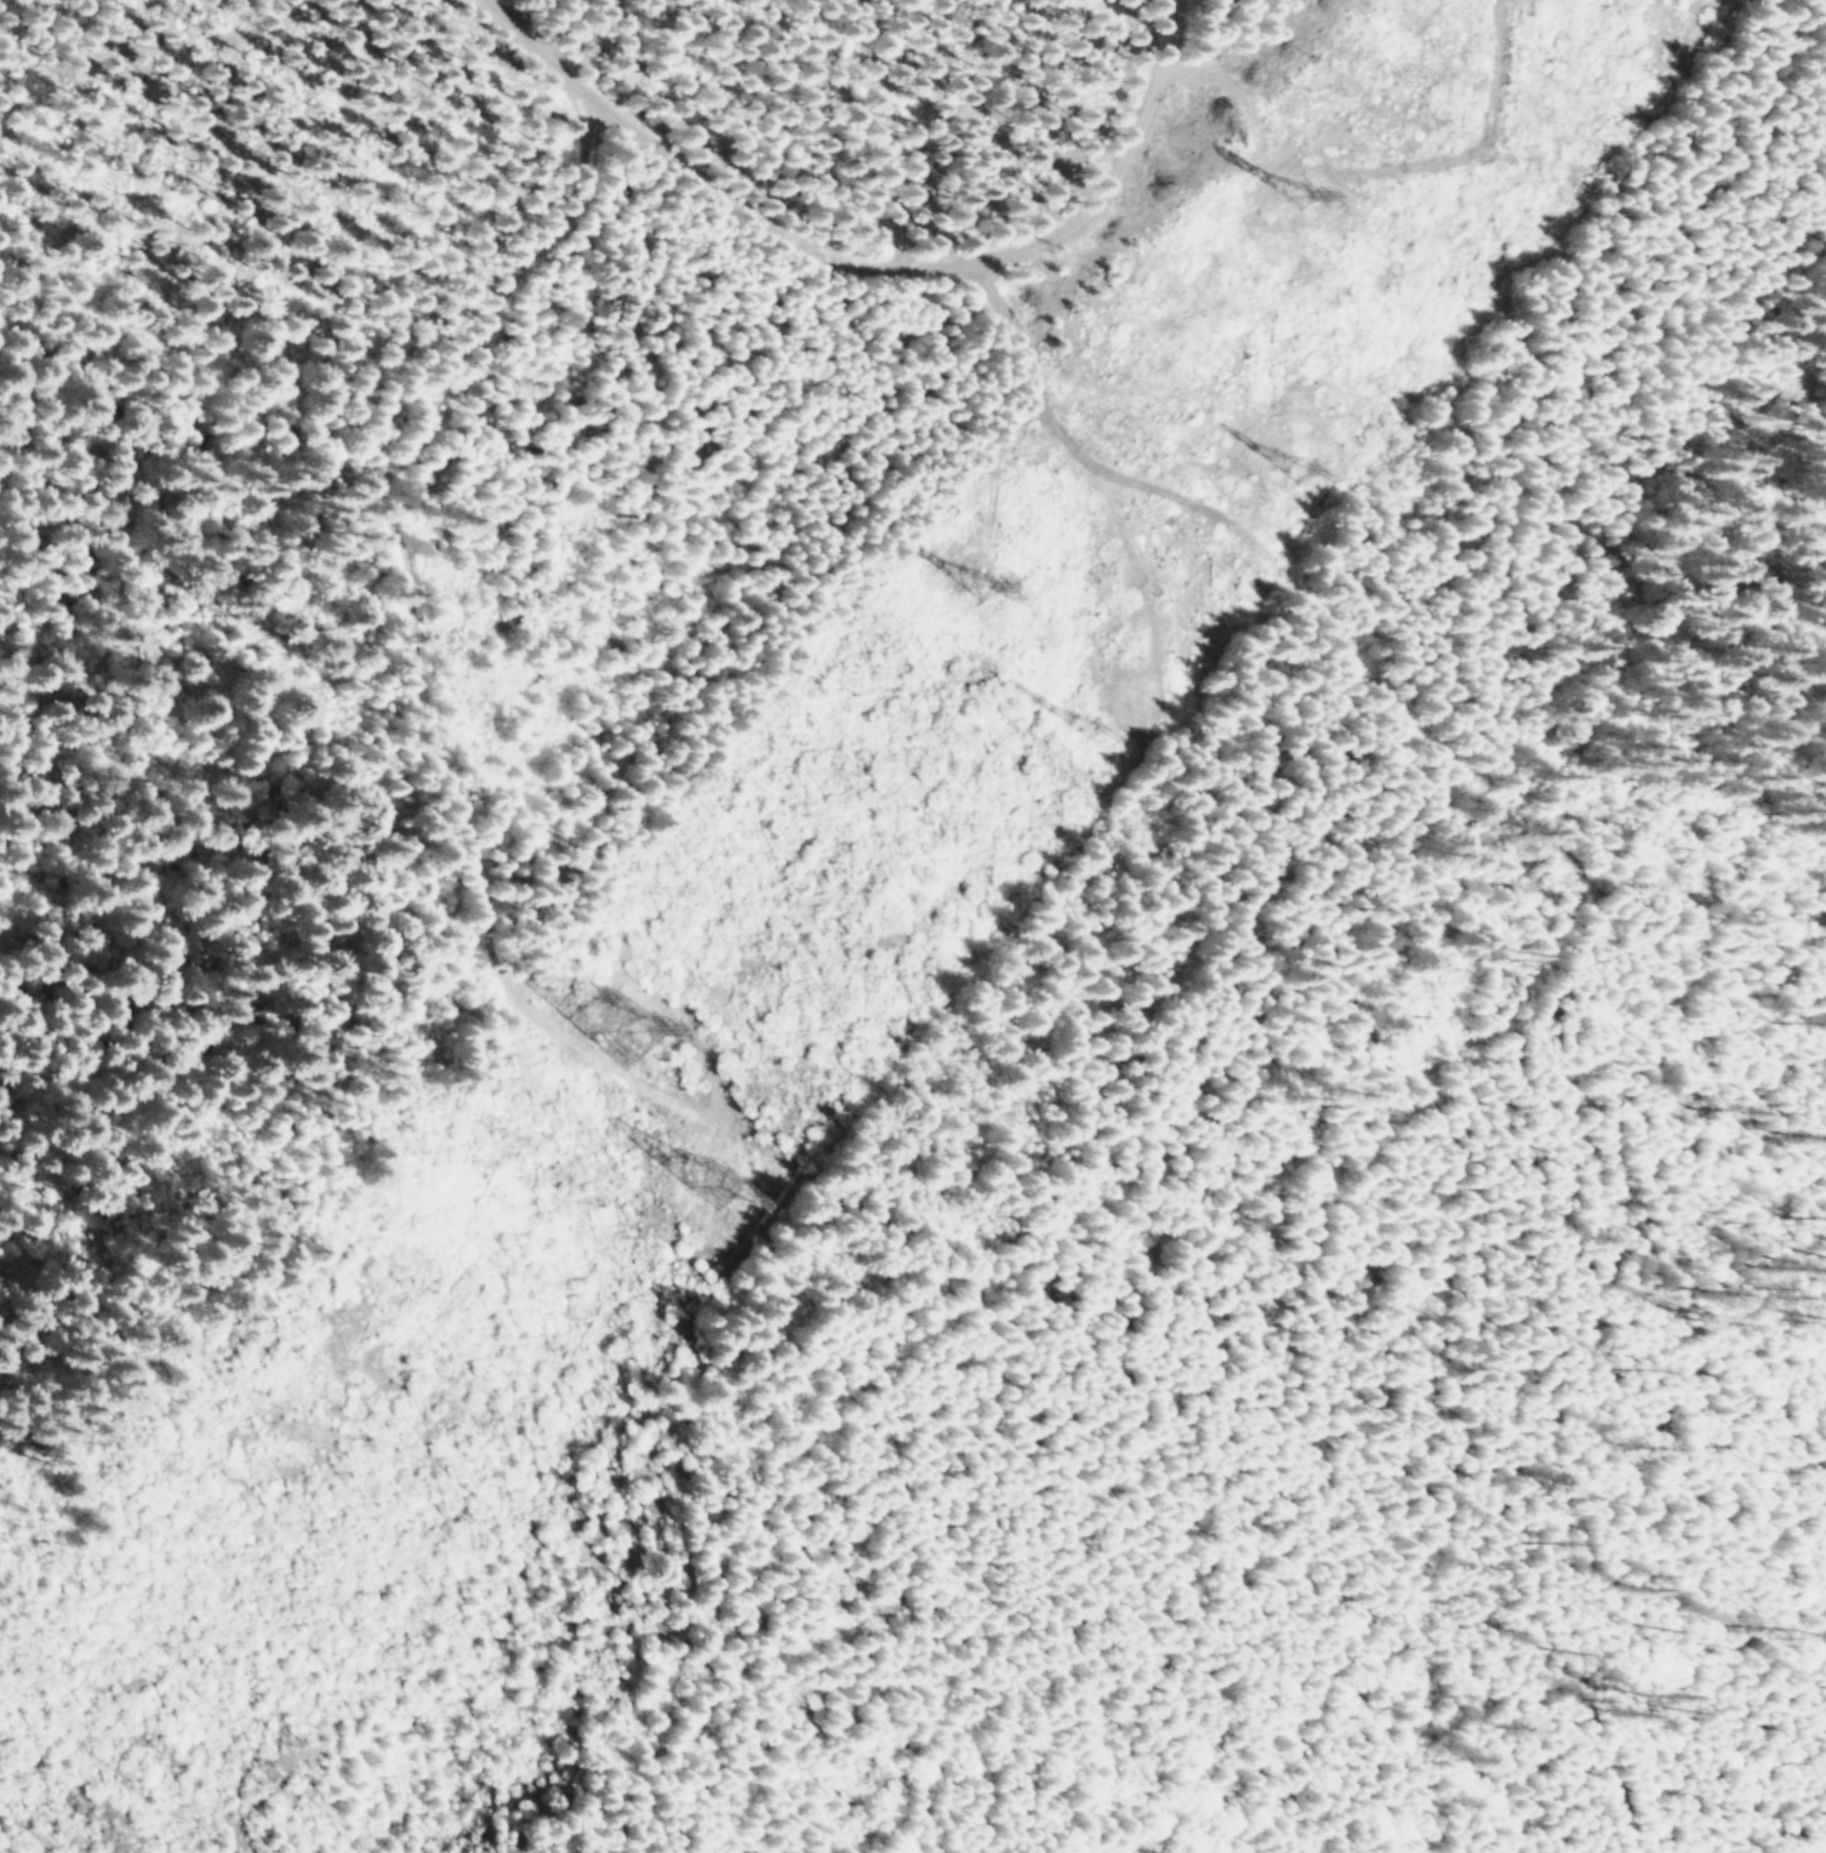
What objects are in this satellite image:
power tower: (1312, 187)
road: (867, 261)
power tower: (1305, 468)
power tower: (981, 572)
road: (1358, 661)
power tower: (1083, 725)
power tower: (621, 1027)
power tower: (715, 1180)

